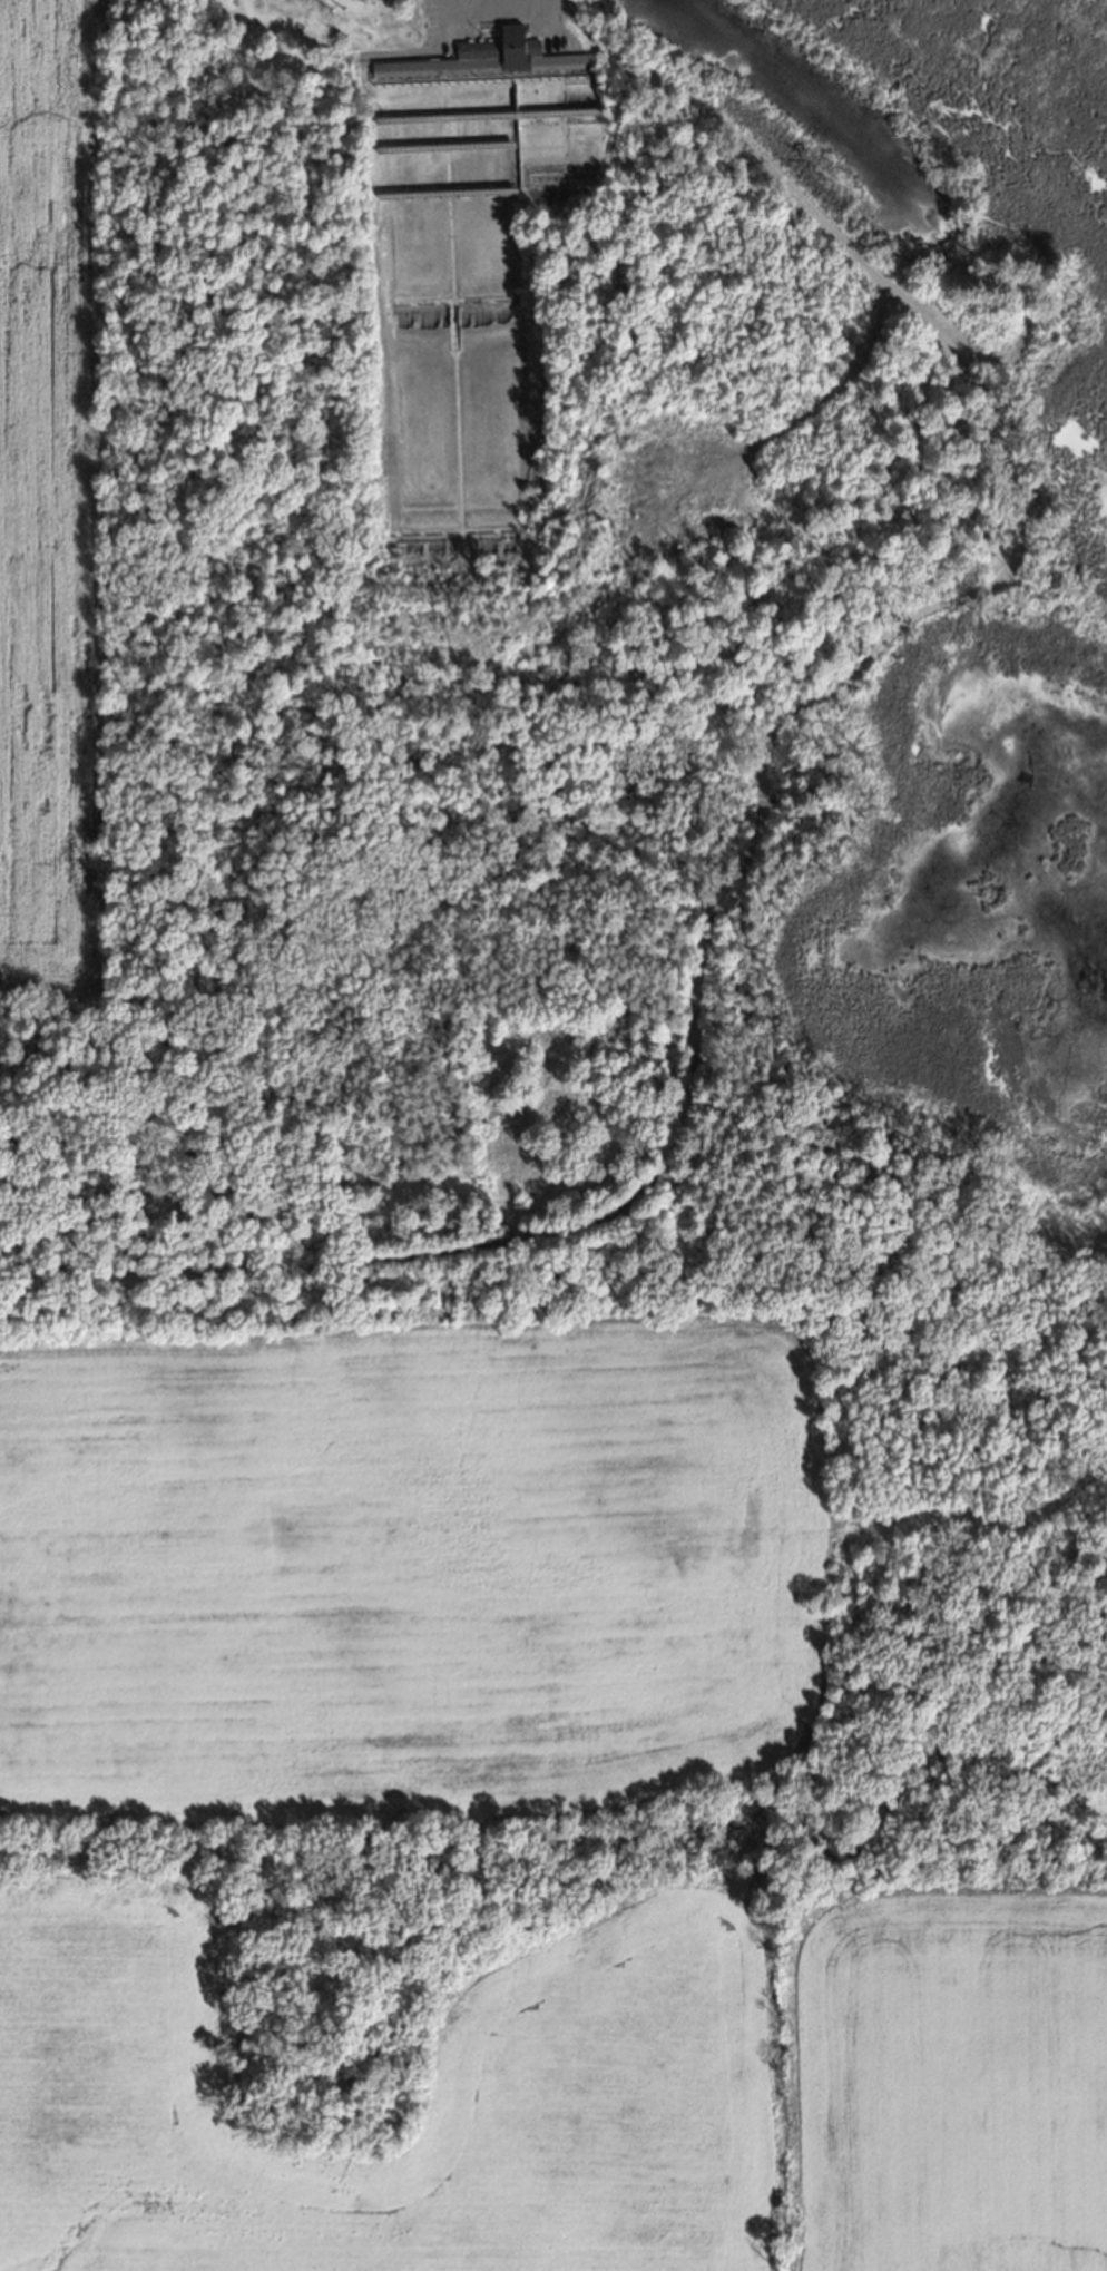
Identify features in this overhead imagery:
building: (483, 57)
road: (766, 772)

